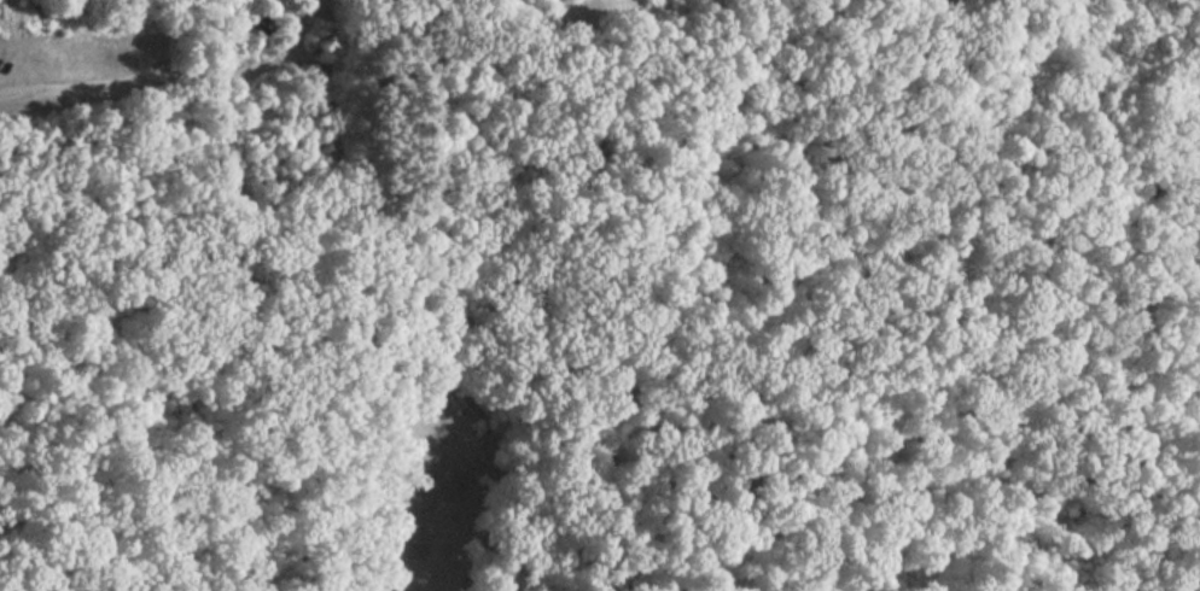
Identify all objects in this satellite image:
parking lot: (583, 12)
road: (332, 41)
road: (175, 75)
building: (583, 154)
road: (297, 179)

